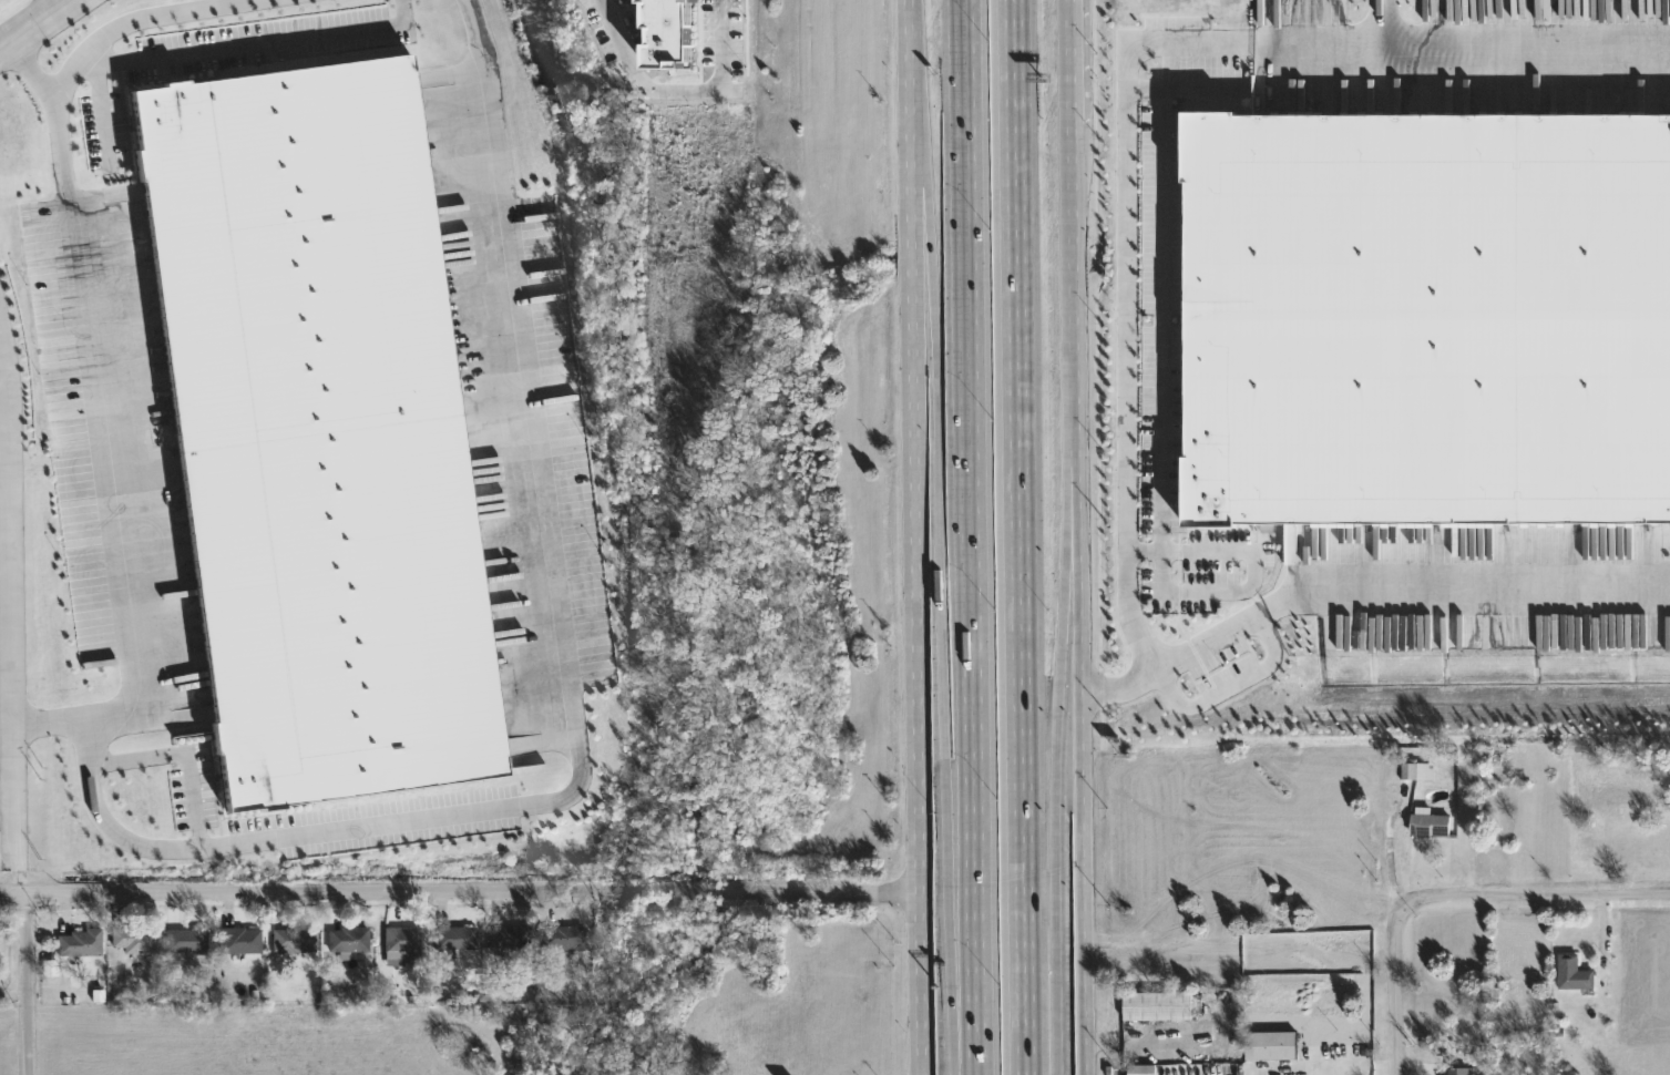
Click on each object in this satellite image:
road: (39, 25)
building: (667, 32)
road: (249, 43)
road: (1525, 48)
road: (1319, 49)
road: (1080, 64)
road: (33, 71)
road: (677, 88)
road: (1185, 88)
road: (101, 115)
road: (1078, 260)
road: (80, 314)
road: (1166, 318)
building: (1427, 318)
road: (912, 341)
building: (317, 432)
road: (939, 536)
road: (966, 537)
road: (1015, 537)
road: (1260, 566)
road: (1126, 584)
road: (10, 595)
road: (1125, 680)
road: (570, 687)
road: (1232, 687)
road: (47, 721)
road: (1055, 733)
road: (1087, 733)
road: (184, 751)
building: (1415, 767)
road: (8, 785)
road: (915, 789)
building: (1431, 821)
road: (458, 890)
road: (1544, 897)
building: (453, 934)
building: (562, 934)
building: (508, 935)
building: (132, 936)
building: (348, 936)
building: (185, 938)
building: (239, 938)
building: (291, 938)
building: (78, 940)
building: (400, 943)
building: (1574, 970)
road: (27, 984)
road: (916, 985)
road: (1397, 985)
building: (1158, 1003)
building: (1271, 1043)
building: (1457, 1068)

